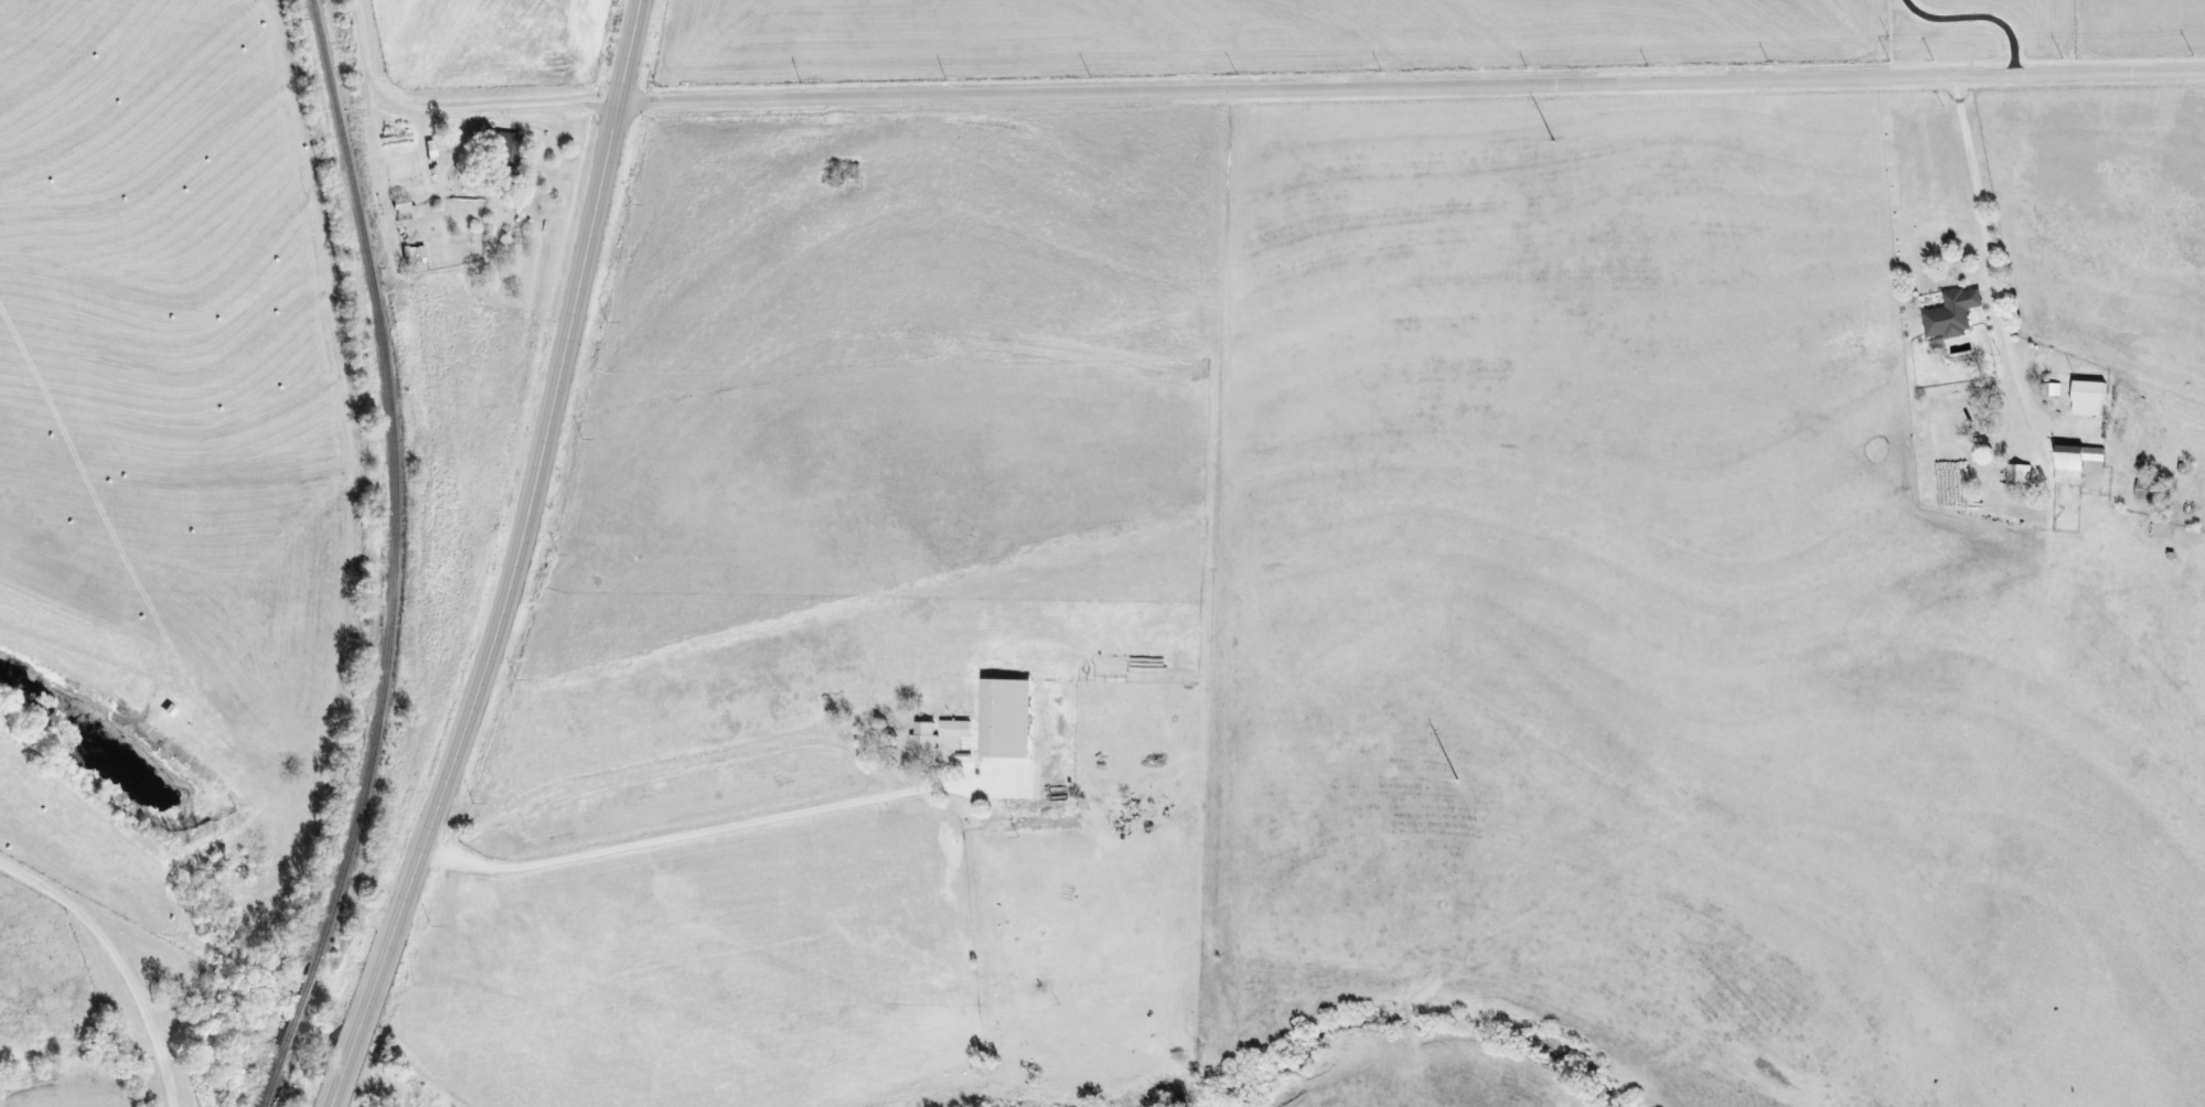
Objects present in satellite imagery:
road: (1413, 84)
road: (458, 108)
power tower: (1551, 143)
building: (504, 148)
building: (413, 252)
road: (1990, 262)
building: (1951, 313)
building: (2049, 388)
building: (2087, 398)
building: (2074, 461)
building: (2017, 472)
road: (537, 474)
railway: (392, 558)
building: (1008, 717)
building: (936, 738)
road: (646, 774)
power tower: (1455, 781)
road: (659, 841)
road: (125, 958)
road: (360, 1022)

